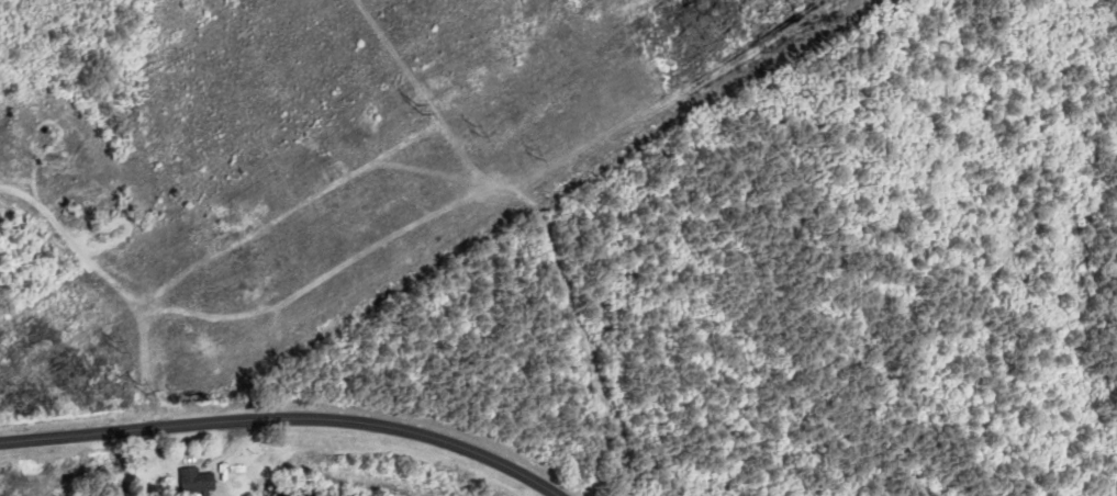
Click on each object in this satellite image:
power tower: (421, 110)
power tower: (479, 131)
power tower: (535, 154)
power tower: (120, 347)
power tower: (144, 395)
road: (284, 418)
building: (199, 483)

